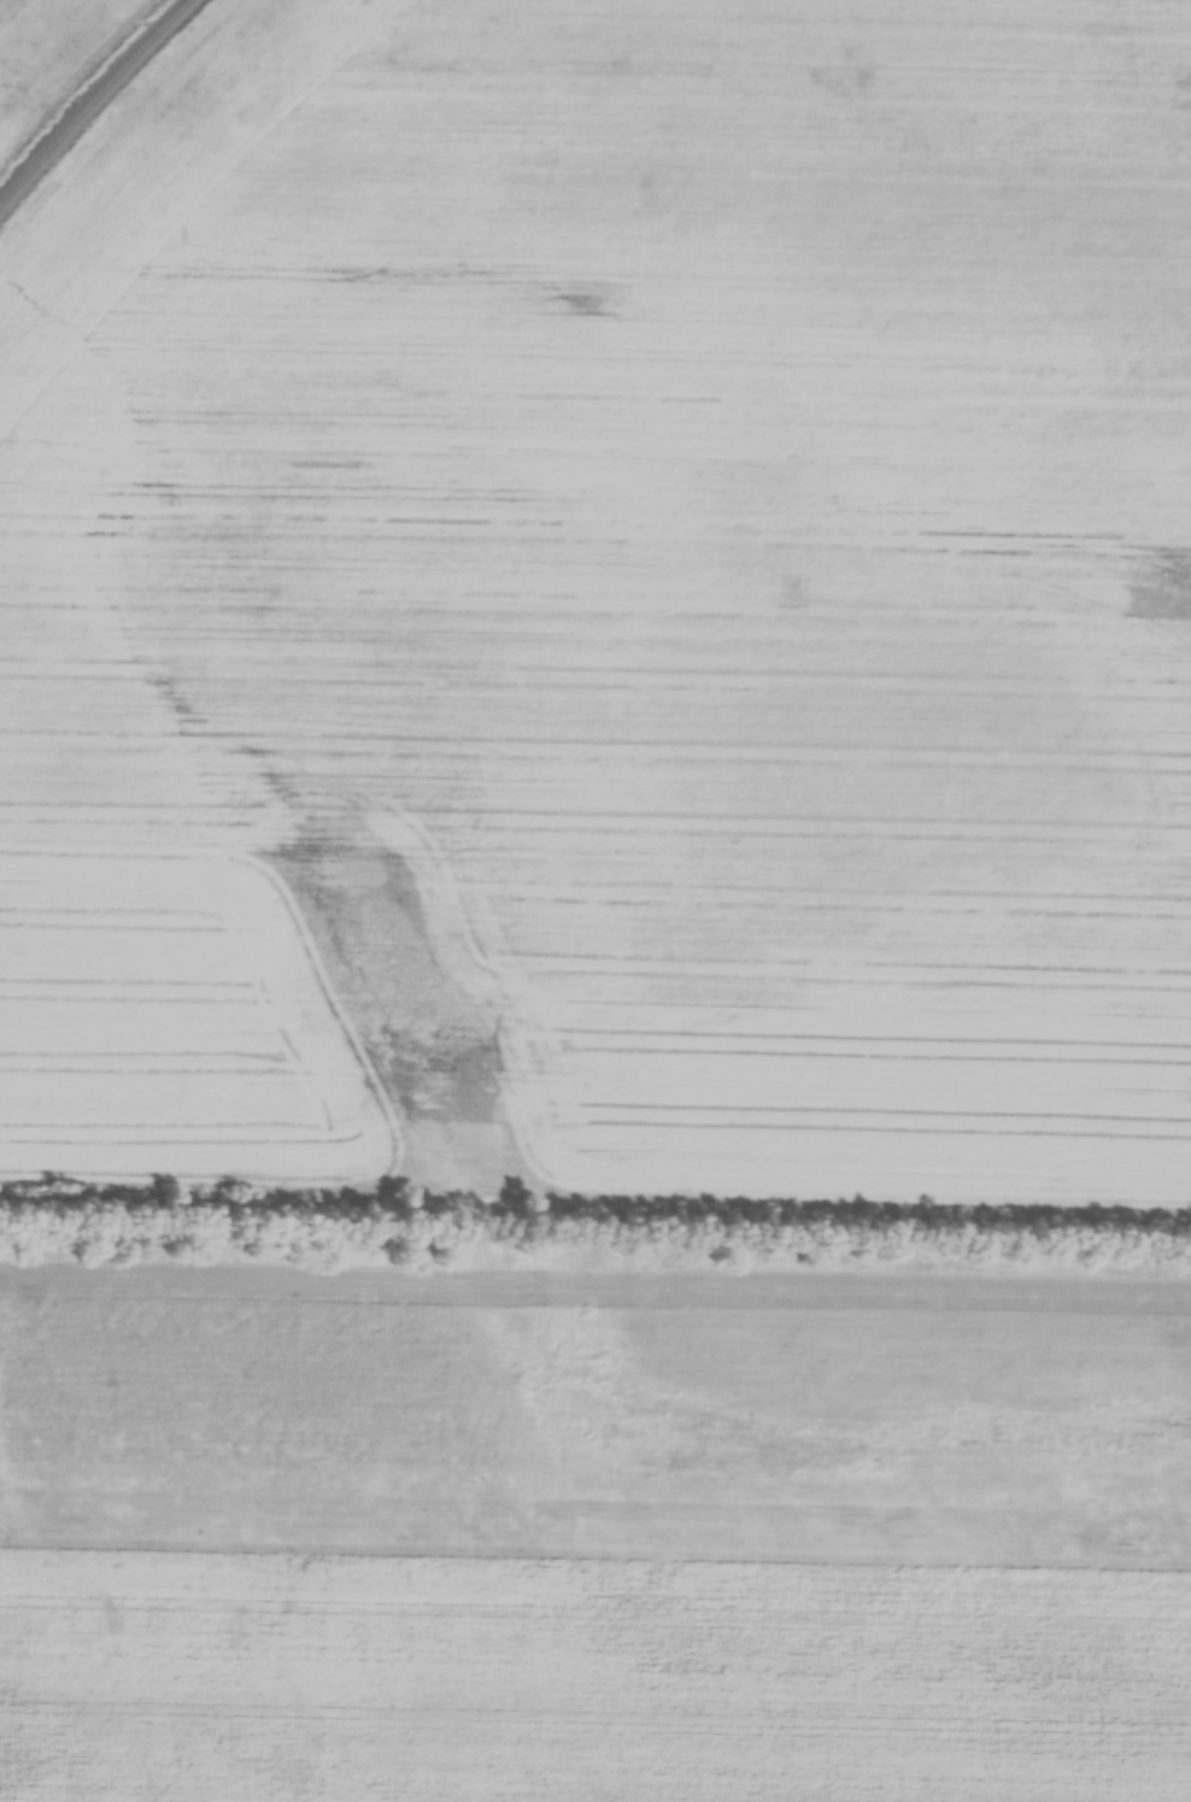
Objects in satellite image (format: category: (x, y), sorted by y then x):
railway: (100, 104)

